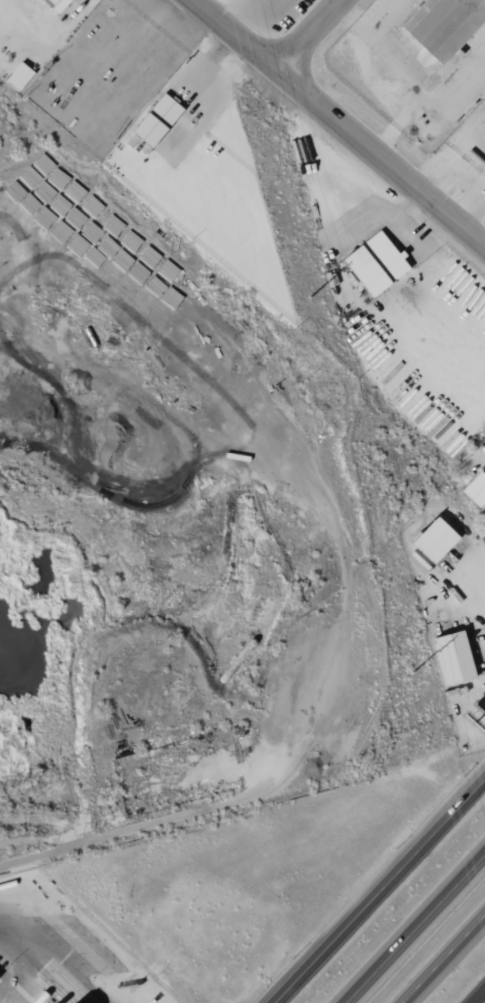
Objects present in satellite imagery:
building: (55, 5)
building: (442, 25)
road: (314, 35)
building: (18, 76)
road: (409, 79)
building: (156, 120)
road: (342, 120)
road: (399, 120)
road: (454, 156)
road: (474, 213)
building: (374, 264)
power tower: (310, 297)
building: (475, 490)
building: (433, 540)
building: (452, 658)
power tower: (412, 673)
road: (380, 893)
road: (414, 928)
road: (442, 957)
road: (480, 998)

